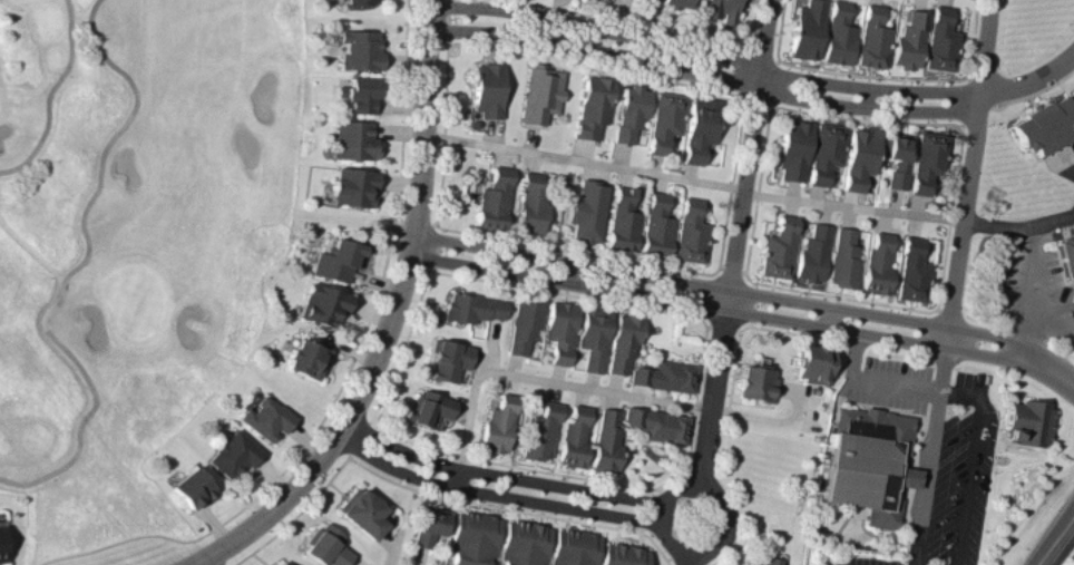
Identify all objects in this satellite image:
building: (367, 1)
building: (674, 2)
building: (719, 9)
building: (805, 29)
building: (838, 33)
road: (586, 37)
building: (872, 37)
building: (940, 39)
building: (909, 40)
building: (359, 43)
road: (703, 50)
road: (705, 75)
road: (1031, 79)
building: (488, 88)
building: (1073, 88)
road: (48, 92)
building: (541, 92)
building: (360, 96)
road: (867, 97)
building: (593, 105)
building: (631, 110)
building: (664, 119)
building: (1044, 125)
building: (699, 127)
building: (358, 145)
building: (792, 148)
building: (824, 150)
building: (858, 156)
building: (896, 157)
building: (927, 159)
road: (969, 173)
road: (693, 178)
building: (350, 191)
building: (494, 198)
building: (531, 205)
building: (586, 211)
building: (623, 220)
building: (656, 225)
road: (1018, 225)
building: (690, 231)
road: (735, 237)
building: (778, 247)
building: (812, 252)
building: (1067, 254)
building: (329, 257)
building: (842, 257)
building: (876, 263)
road: (76, 265)
building: (911, 270)
road: (717, 286)
road: (1031, 290)
building: (321, 303)
building: (471, 306)
road: (712, 306)
road: (1053, 306)
road: (829, 315)
road: (390, 321)
building: (524, 323)
building: (559, 329)
building: (593, 337)
building: (623, 341)
building: (307, 357)
building: (448, 359)
building: (814, 363)
road: (1046, 366)
building: (664, 374)
road: (536, 378)
building: (755, 382)
road: (894, 384)
road: (958, 393)
building: (429, 407)
building: (265, 415)
building: (1027, 421)
building: (498, 423)
building: (657, 423)
building: (540, 431)
building: (574, 436)
building: (606, 439)
building: (233, 452)
building: (869, 461)
road: (500, 475)
road: (969, 476)
road: (926, 478)
building: (191, 486)
road: (494, 493)
building: (362, 510)
building: (429, 525)
building: (473, 537)
road: (1055, 538)
building: (524, 543)
building: (1, 544)
building: (326, 545)
building: (574, 547)
building: (623, 554)
building: (767, 561)
road: (956, 561)
road: (201, 562)
building: (282, 562)
road: (687, 563)
road: (686, 564)

